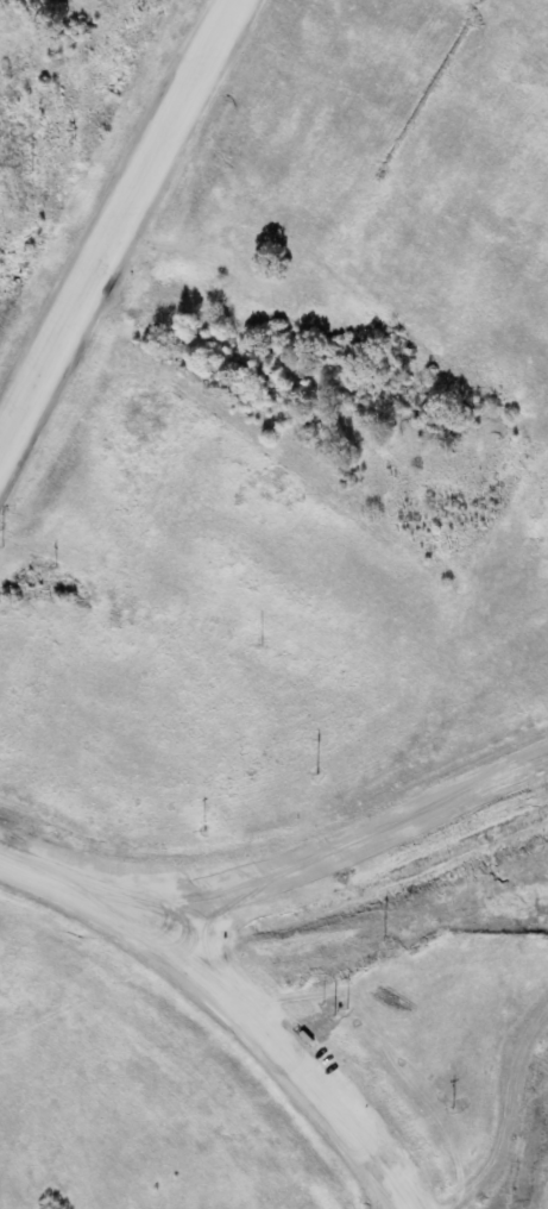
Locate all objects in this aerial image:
road: (120, 232)
road: (334, 864)
road: (233, 1000)

